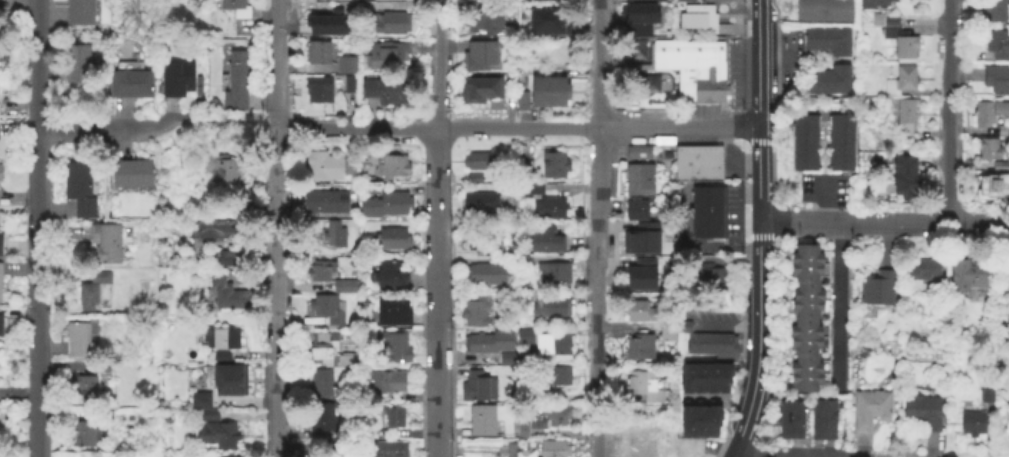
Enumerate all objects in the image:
building: (689, 0)
building: (365, 1)
building: (550, 1)
building: (875, 4)
building: (235, 9)
building: (809, 11)
building: (837, 11)
building: (994, 11)
building: (78, 13)
building: (638, 18)
building: (698, 20)
building: (883, 22)
building: (549, 23)
building: (390, 24)
building: (327, 25)
building: (484, 25)
building: (828, 42)
building: (902, 44)
building: (996, 44)
building: (636, 48)
building: (318, 54)
building: (386, 57)
building: (480, 58)
road: (777, 60)
road: (756, 63)
building: (76, 64)
road: (596, 64)
building: (345, 66)
building: (693, 67)
building: (996, 80)
building: (179, 81)
building: (828, 82)
building: (900, 82)
building: (236, 83)
building: (129, 85)
building: (348, 86)
building: (318, 91)
building: (479, 91)
building: (385, 94)
building: (549, 95)
building: (521, 104)
road: (950, 111)
building: (988, 113)
building: (906, 117)
road: (432, 123)
road: (515, 128)
road: (105, 129)
road: (223, 129)
building: (1002, 131)
building: (872, 137)
road: (521, 142)
building: (839, 143)
building: (804, 144)
building: (987, 149)
building: (637, 150)
building: (666, 154)
building: (696, 162)
building: (479, 163)
building: (363, 166)
building: (553, 166)
building: (999, 167)
building: (0, 168)
building: (322, 168)
building: (392, 168)
building: (220, 170)
building: (521, 171)
road: (597, 173)
building: (903, 175)
building: (131, 176)
building: (638, 177)
building: (472, 180)
building: (992, 186)
road: (571, 188)
building: (78, 190)
building: (526, 190)
building: (699, 195)
road: (823, 200)
building: (323, 203)
building: (715, 204)
building: (480, 205)
building: (385, 206)
building: (635, 207)
building: (548, 209)
building: (699, 214)
building: (523, 215)
road: (827, 221)
road: (954, 223)
road: (37, 228)
road: (275, 228)
building: (215, 230)
building: (699, 231)
building: (715, 231)
building: (129, 233)
building: (333, 236)
building: (641, 236)
building: (480, 238)
building: (0, 240)
building: (544, 240)
building: (392, 241)
building: (511, 244)
building: (106, 245)
road: (692, 246)
road: (597, 254)
building: (806, 257)
building: (227, 260)
building: (527, 265)
building: (0, 269)
building: (923, 271)
building: (320, 272)
building: (640, 272)
building: (553, 273)
building: (806, 274)
building: (484, 275)
building: (967, 277)
building: (709, 278)
building: (388, 279)
building: (343, 287)
building: (877, 290)
building: (91, 291)
building: (807, 293)
road: (757, 294)
building: (227, 295)
building: (523, 299)
road: (434, 304)
road: (838, 306)
building: (550, 308)
building: (639, 309)
building: (807, 310)
building: (866, 310)
building: (326, 311)
building: (475, 312)
building: (392, 313)
building: (94, 318)
road: (727, 320)
building: (0, 321)
building: (1, 326)
building: (805, 330)
building: (665, 334)
building: (524, 337)
building: (707, 339)
building: (77, 341)
building: (220, 343)
building: (479, 345)
building: (552, 345)
building: (805, 347)
building: (393, 349)
building: (638, 349)
building: (323, 350)
road: (598, 357)
building: (506, 360)
building: (104, 367)
building: (806, 367)
building: (685, 376)
building: (723, 376)
building: (554, 377)
building: (698, 377)
building: (710, 377)
building: (229, 381)
building: (387, 383)
building: (320, 385)
building: (806, 385)
building: (643, 387)
building: (83, 388)
building: (478, 388)
building: (985, 390)
building: (540, 395)
building: (342, 397)
road: (714, 400)
building: (199, 401)
building: (342, 405)
road: (435, 410)
building: (868, 411)
building: (921, 413)
building: (105, 415)
building: (209, 415)
building: (711, 417)
building: (320, 418)
building: (698, 418)
building: (390, 419)
building: (545, 419)
building: (686, 419)
building: (481, 421)
building: (791, 421)
building: (824, 421)
building: (969, 424)
building: (1006, 424)
building: (647, 427)
building: (322, 433)
building: (82, 435)
building: (216, 436)
road: (599, 441)
building: (385, 449)
building: (510, 449)
building: (553, 449)
road: (736, 454)
building: (324, 455)

